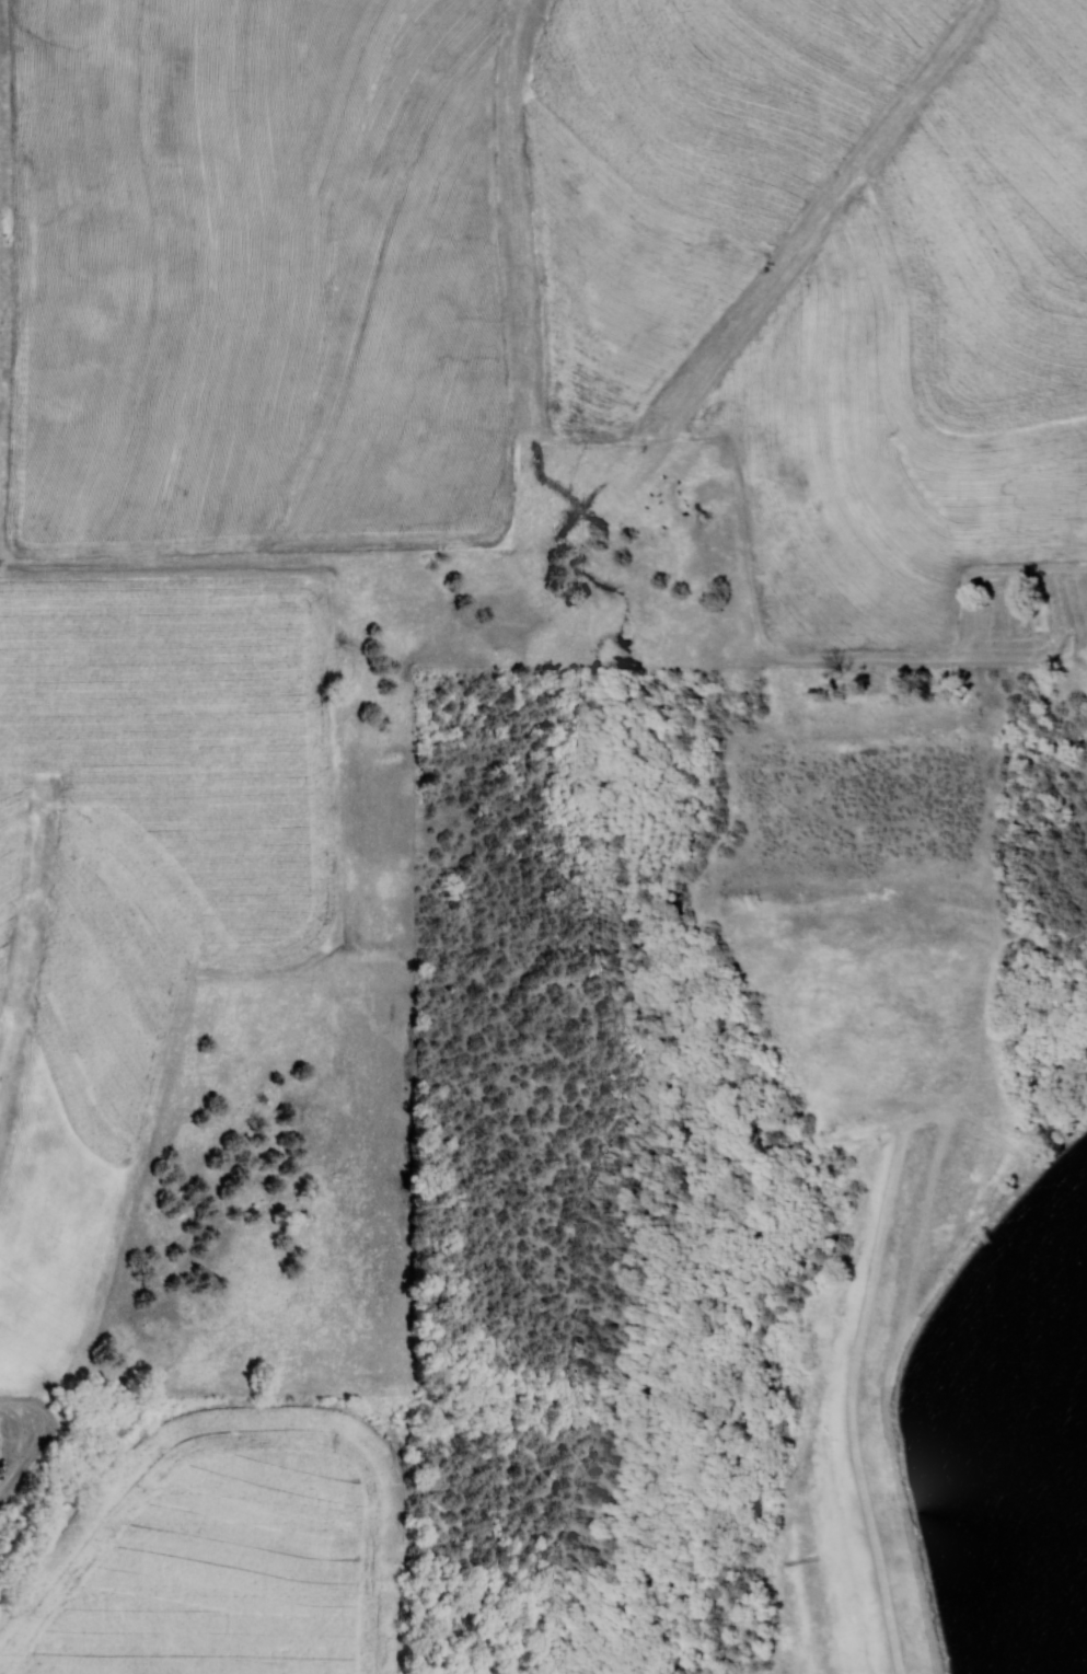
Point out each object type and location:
park: (748, 1168)
dam: (871, 1381)

